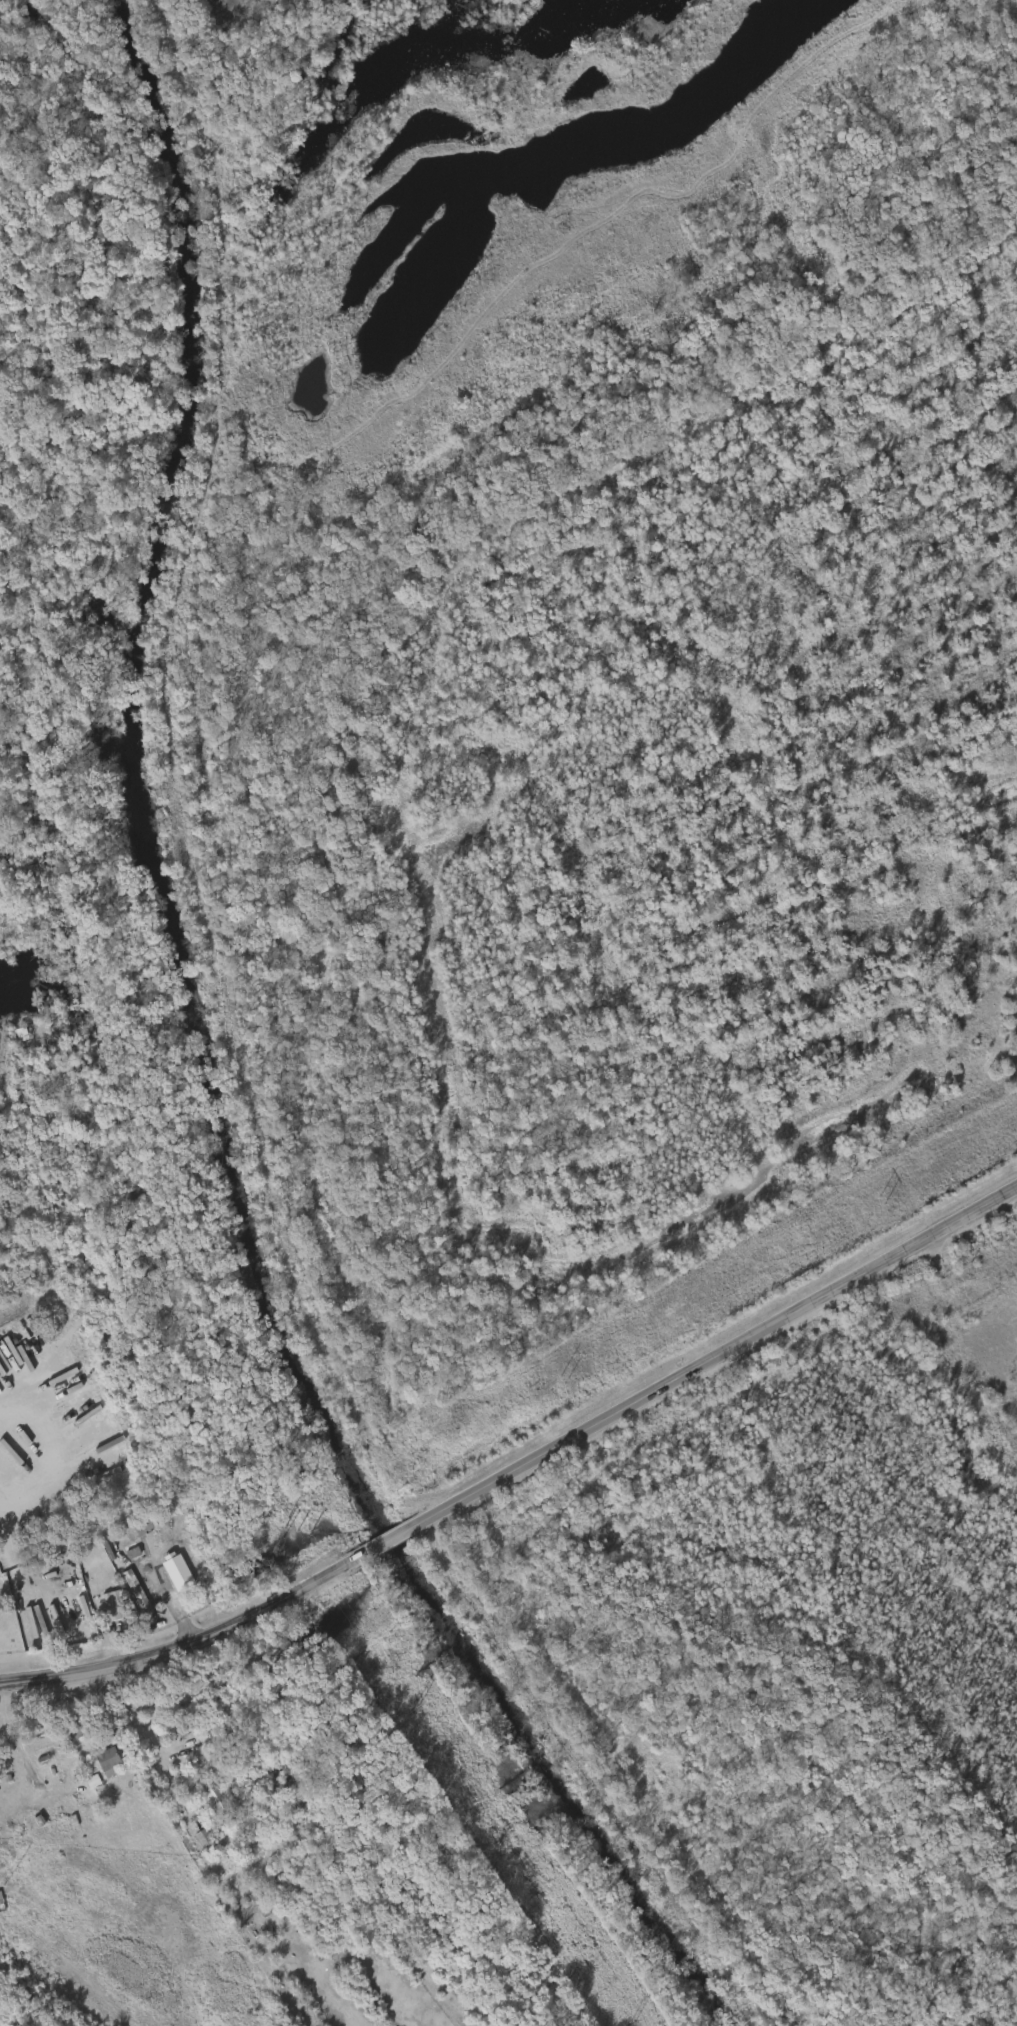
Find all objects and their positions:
crop: (213, 14)
road: (88, 173)
crop: (592, 657)
power tower: (881, 1200)
road: (969, 1294)
power tower: (561, 1380)
road: (30, 1404)
road: (520, 1468)
power tower: (298, 1528)
building: (172, 1573)
building: (136, 1592)
building: (112, 1603)
building: (75, 1726)
road: (145, 1737)
building: (106, 1757)
building: (216, 1799)
building: (203, 1838)
power tower: (628, 2020)

